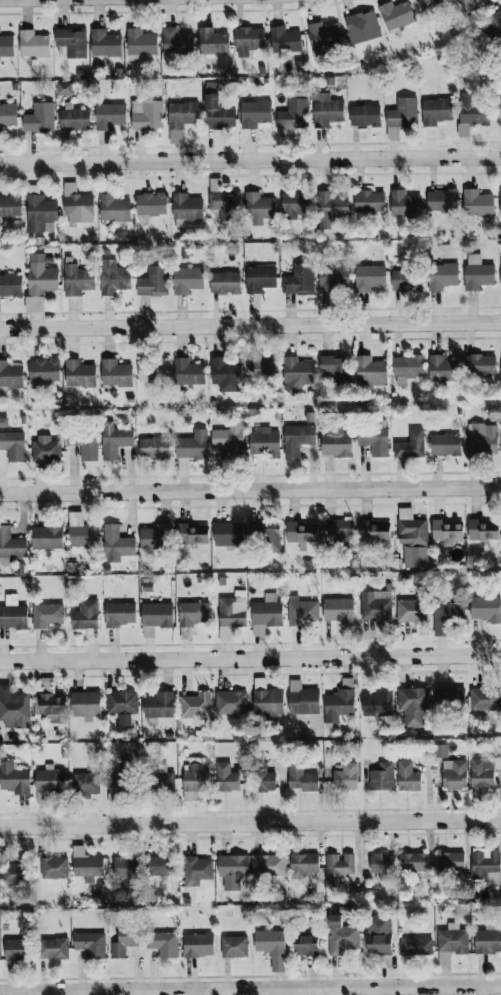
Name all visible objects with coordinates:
building: (428, 4)
building: (468, 5)
building: (396, 15)
building: (495, 23)
building: (362, 28)
building: (285, 41)
building: (324, 41)
building: (73, 42)
building: (177, 42)
building: (249, 42)
building: (212, 43)
building: (105, 44)
building: (34, 45)
building: (141, 45)
building: (6, 47)
building: (64, 89)
building: (472, 111)
building: (436, 112)
building: (499, 112)
building: (328, 113)
building: (218, 114)
building: (147, 115)
building: (182, 115)
building: (256, 115)
building: (294, 115)
building: (365, 116)
building: (111, 117)
building: (401, 117)
building: (8, 118)
building: (40, 119)
building: (74, 119)
road: (250, 160)
building: (369, 202)
building: (500, 202)
building: (151, 204)
building: (477, 204)
building: (295, 205)
building: (405, 205)
building: (225, 206)
building: (259, 206)
building: (10, 207)
building: (113, 209)
building: (186, 209)
building: (330, 209)
building: (78, 210)
building: (41, 214)
building: (477, 273)
building: (500, 274)
building: (442, 276)
building: (41, 277)
building: (113, 278)
building: (260, 278)
building: (369, 278)
building: (333, 279)
building: (77, 280)
building: (299, 280)
building: (187, 281)
building: (405, 281)
building: (153, 282)
building: (225, 283)
building: (10, 286)
building: (0, 308)
road: (250, 326)
building: (480, 366)
building: (261, 369)
building: (407, 369)
building: (442, 369)
building: (153, 370)
building: (334, 370)
building: (188, 372)
building: (371, 372)
building: (43, 373)
building: (79, 374)
building: (115, 374)
building: (10, 375)
building: (226, 375)
building: (296, 375)
building: (114, 440)
building: (229, 440)
building: (297, 440)
building: (482, 440)
building: (375, 441)
building: (336, 442)
building: (264, 443)
building: (445, 445)
building: (13, 446)
building: (84, 446)
building: (192, 446)
building: (411, 446)
building: (154, 448)
building: (46, 450)
road: (250, 490)
building: (337, 530)
building: (482, 531)
building: (81, 532)
building: (302, 532)
building: (373, 532)
building: (446, 532)
building: (193, 534)
building: (228, 534)
building: (264, 536)
building: (156, 537)
building: (47, 538)
building: (412, 539)
building: (117, 543)
building: (11, 545)
building: (375, 606)
building: (485, 609)
building: (233, 611)
building: (339, 611)
building: (302, 612)
building: (412, 612)
building: (13, 614)
building: (193, 614)
building: (47, 615)
building: (120, 615)
building: (85, 616)
building: (448, 616)
building: (155, 618)
road: (250, 657)
building: (450, 699)
building: (267, 700)
building: (303, 700)
building: (485, 701)
building: (231, 702)
building: (339, 704)
building: (377, 704)
building: (85, 705)
building: (413, 706)
building: (14, 707)
building: (122, 707)
building: (158, 707)
building: (51, 708)
building: (196, 708)
building: (441, 751)
building: (454, 775)
building: (345, 777)
building: (382, 777)
building: (14, 778)
building: (226, 778)
building: (407, 778)
building: (121, 779)
building: (163, 779)
building: (301, 779)
building: (194, 780)
building: (264, 781)
building: (48, 783)
building: (86, 784)
road: (250, 823)
building: (449, 861)
building: (414, 863)
building: (271, 865)
building: (303, 865)
building: (86, 866)
building: (162, 866)
building: (382, 866)
building: (126, 867)
building: (485, 867)
building: (54, 868)
building: (338, 868)
building: (197, 871)
building: (232, 871)
building: (13, 873)
building: (341, 937)
building: (124, 942)
building: (487, 942)
building: (451, 943)
building: (163, 944)
building: (91, 945)
building: (198, 945)
building: (234, 947)
building: (305, 947)
building: (415, 947)
building: (271, 948)
building: (16, 950)
building: (52, 950)
road: (250, 988)

